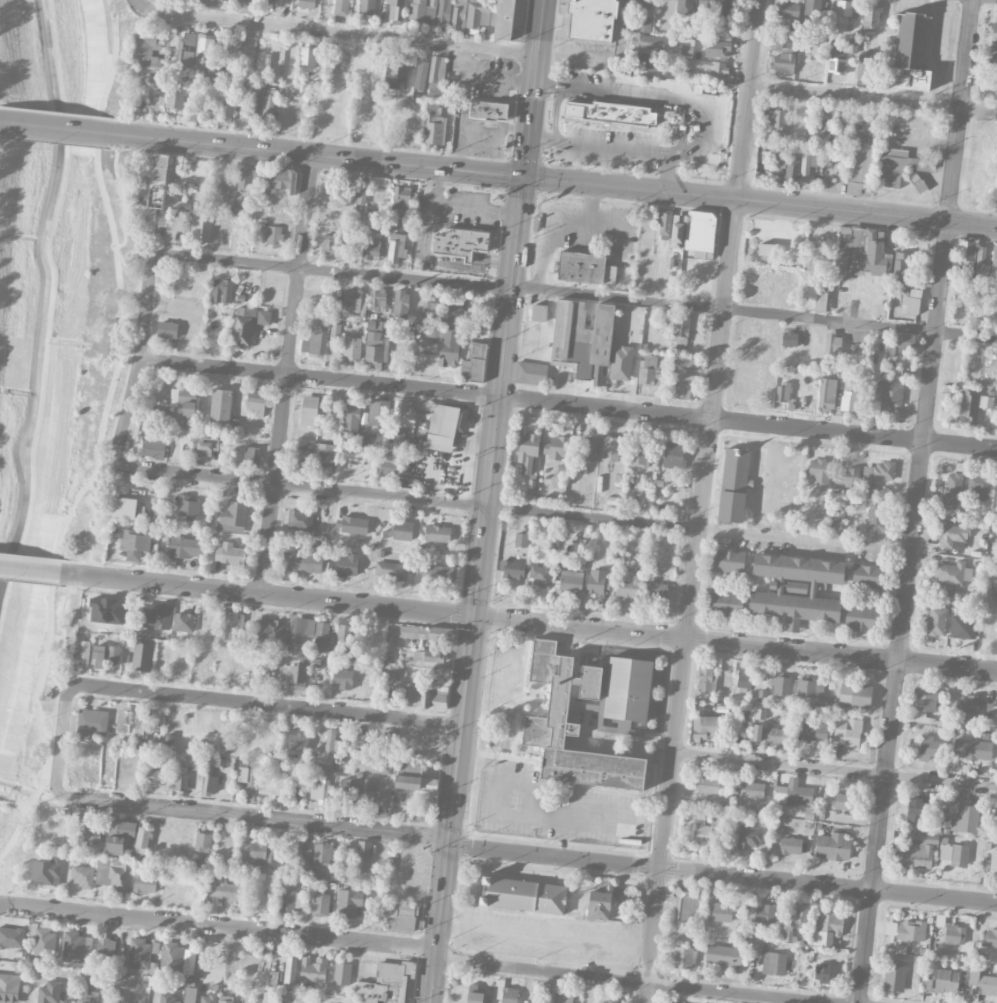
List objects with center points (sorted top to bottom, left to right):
building: (247, 0)
building: (268, 1)
building: (328, 1)
building: (642, 3)
building: (306, 4)
building: (684, 6)
building: (341, 7)
building: (367, 7)
building: (706, 7)
building: (727, 8)
building: (785, 8)
building: (812, 8)
building: (396, 9)
building: (422, 10)
building: (444, 12)
building: (843, 13)
building: (459, 14)
building: (477, 15)
building: (871, 16)
building: (504, 19)
building: (591, 19)
road: (623, 24)
building: (646, 24)
building: (724, 31)
building: (993, 32)
road: (334, 33)
building: (147, 41)
building: (648, 42)
building: (791, 44)
building: (850, 47)
building: (204, 48)
building: (185, 49)
building: (717, 49)
building: (910, 53)
building: (307, 55)
building: (643, 62)
building: (783, 62)
building: (836, 64)
building: (991, 64)
building: (865, 65)
building: (716, 68)
building: (421, 74)
building: (436, 76)
road: (486, 76)
building: (175, 95)
road: (656, 97)
road: (874, 99)
building: (252, 105)
building: (269, 105)
building: (226, 107)
building: (488, 110)
road: (556, 113)
building: (609, 114)
building: (777, 119)
building: (821, 120)
road: (0, 121)
road: (463, 121)
building: (434, 124)
road: (50, 126)
road: (617, 147)
building: (778, 157)
building: (861, 161)
building: (806, 166)
building: (900, 167)
building: (792, 170)
traffic signals: (524, 176)
road: (548, 178)
building: (247, 179)
building: (284, 179)
building: (265, 185)
building: (160, 192)
building: (362, 193)
building: (401, 196)
building: (996, 196)
road: (460, 205)
building: (664, 222)
building: (201, 229)
building: (677, 231)
building: (700, 233)
building: (274, 235)
building: (461, 243)
building: (328, 244)
building: (373, 244)
building: (395, 247)
building: (766, 249)
building: (849, 252)
road: (429, 255)
building: (877, 255)
building: (965, 256)
road: (499, 261)
building: (981, 263)
building: (901, 265)
building: (993, 266)
building: (583, 267)
road: (337, 271)
building: (222, 290)
building: (915, 292)
building: (377, 298)
building: (355, 299)
building: (823, 299)
road: (146, 302)
building: (400, 303)
building: (911, 305)
building: (430, 308)
building: (960, 308)
building: (452, 309)
building: (538, 312)
road: (754, 312)
building: (247, 324)
building: (166, 329)
building: (679, 330)
building: (335, 332)
building: (581, 336)
building: (315, 338)
building: (789, 338)
building: (898, 343)
building: (833, 345)
building: (352, 347)
building: (449, 347)
building: (374, 348)
park: (55, 353)
building: (474, 362)
building: (688, 362)
building: (650, 371)
building: (530, 373)
road: (286, 374)
building: (685, 385)
building: (782, 392)
building: (827, 394)
building: (890, 395)
building: (849, 396)
building: (256, 400)
road: (568, 404)
building: (220, 405)
building: (973, 405)
building: (179, 406)
road: (126, 411)
building: (308, 411)
building: (379, 412)
building: (403, 414)
building: (353, 417)
building: (445, 426)
road: (101, 438)
building: (398, 439)
building: (377, 440)
building: (205, 445)
building: (558, 447)
building: (152, 448)
building: (610, 448)
building: (589, 449)
building: (527, 451)
building: (324, 454)
building: (673, 454)
building: (303, 455)
building: (250, 456)
building: (639, 456)
building: (388, 465)
building: (818, 471)
building: (876, 475)
building: (847, 476)
building: (734, 485)
building: (531, 486)
road: (303, 487)
building: (979, 489)
building: (952, 491)
building: (996, 493)
road: (487, 501)
road: (704, 501)
road: (917, 501)
building: (124, 507)
building: (187, 507)
building: (232, 516)
road: (594, 517)
building: (876, 517)
building: (300, 519)
building: (354, 525)
building: (402, 530)
building: (437, 533)
building: (952, 536)
building: (521, 539)
road: (806, 539)
building: (134, 543)
building: (185, 547)
building: (228, 554)
building: (302, 561)
building: (729, 561)
building: (347, 565)
road: (30, 569)
building: (512, 569)
building: (391, 570)
building: (952, 573)
building: (436, 574)
building: (867, 575)
building: (541, 576)
building: (996, 580)
building: (598, 581)
building: (567, 584)
building: (628, 584)
building: (795, 589)
building: (655, 591)
building: (725, 601)
building: (156, 615)
traffic signals: (474, 617)
building: (861, 618)
building: (936, 621)
building: (183, 622)
road: (528, 622)
building: (963, 624)
building: (230, 627)
building: (270, 632)
building: (425, 632)
building: (298, 635)
building: (323, 638)
building: (344, 638)
building: (84, 650)
building: (105, 655)
building: (141, 656)
building: (428, 656)
building: (389, 671)
building: (706, 677)
building: (743, 677)
building: (342, 678)
building: (297, 679)
building: (781, 685)
building: (810, 688)
building: (628, 689)
building: (408, 694)
building: (855, 694)
building: (434, 695)
road: (212, 698)
building: (923, 701)
building: (949, 703)
building: (968, 707)
building: (123, 720)
building: (92, 723)
building: (142, 725)
building: (572, 725)
building: (705, 727)
building: (628, 728)
building: (814, 732)
building: (847, 733)
building: (771, 735)
building: (298, 742)
building: (333, 744)
building: (389, 747)
building: (929, 748)
building: (972, 749)
building: (193, 760)
building: (297, 768)
road: (836, 769)
building: (319, 771)
building: (210, 773)
building: (154, 777)
building: (181, 778)
building: (413, 778)
building: (708, 784)
building: (752, 789)
building: (318, 791)
building: (349, 791)
building: (793, 793)
building: (373, 794)
building: (841, 801)
road: (4, 803)
road: (38, 804)
building: (917, 809)
road: (494, 813)
building: (809, 813)
road: (252, 817)
building: (966, 817)
building: (996, 818)
building: (701, 831)
building: (87, 833)
building: (119, 835)
building: (143, 836)
building: (749, 838)
traffic signals: (449, 841)
building: (202, 842)
building: (790, 845)
building: (832, 846)
building: (303, 853)
building: (321, 853)
building: (260, 854)
building: (347, 854)
building: (363, 856)
building: (953, 856)
building: (991, 861)
building: (45, 873)
building: (81, 875)
building: (113, 875)
road: (722, 875)
building: (144, 883)
building: (288, 884)
building: (226, 891)
building: (621, 894)
building: (523, 895)
building: (290, 901)
building: (320, 903)
building: (349, 903)
building: (599, 905)
building: (686, 907)
building: (721, 911)
building: (761, 912)
building: (801, 913)
building: (399, 916)
road: (218, 926)
building: (827, 928)
building: (890, 928)
building: (911, 931)
building: (954, 934)
building: (12, 937)
building: (989, 938)
building: (42, 946)
building: (73, 947)
building: (106, 947)
building: (756, 949)
building: (141, 953)
building: (723, 955)
building: (172, 957)
building: (683, 957)
building: (774, 963)
building: (313, 969)
building: (290, 971)
building: (825, 972)
building: (342, 973)
building: (973, 974)
building: (894, 975)
building: (273, 978)
building: (124, 980)
building: (946, 980)
road: (624, 981)
building: (384, 984)
building: (927, 985)
building: (986, 985)
building: (9, 987)
building: (48, 992)
building: (190, 995)
building: (476, 995)
building: (509, 995)
building: (97, 997)
building: (168, 997)
building: (208, 998)
building: (563, 998)
building: (132, 999)
building: (225, 999)
building: (606, 1001)

